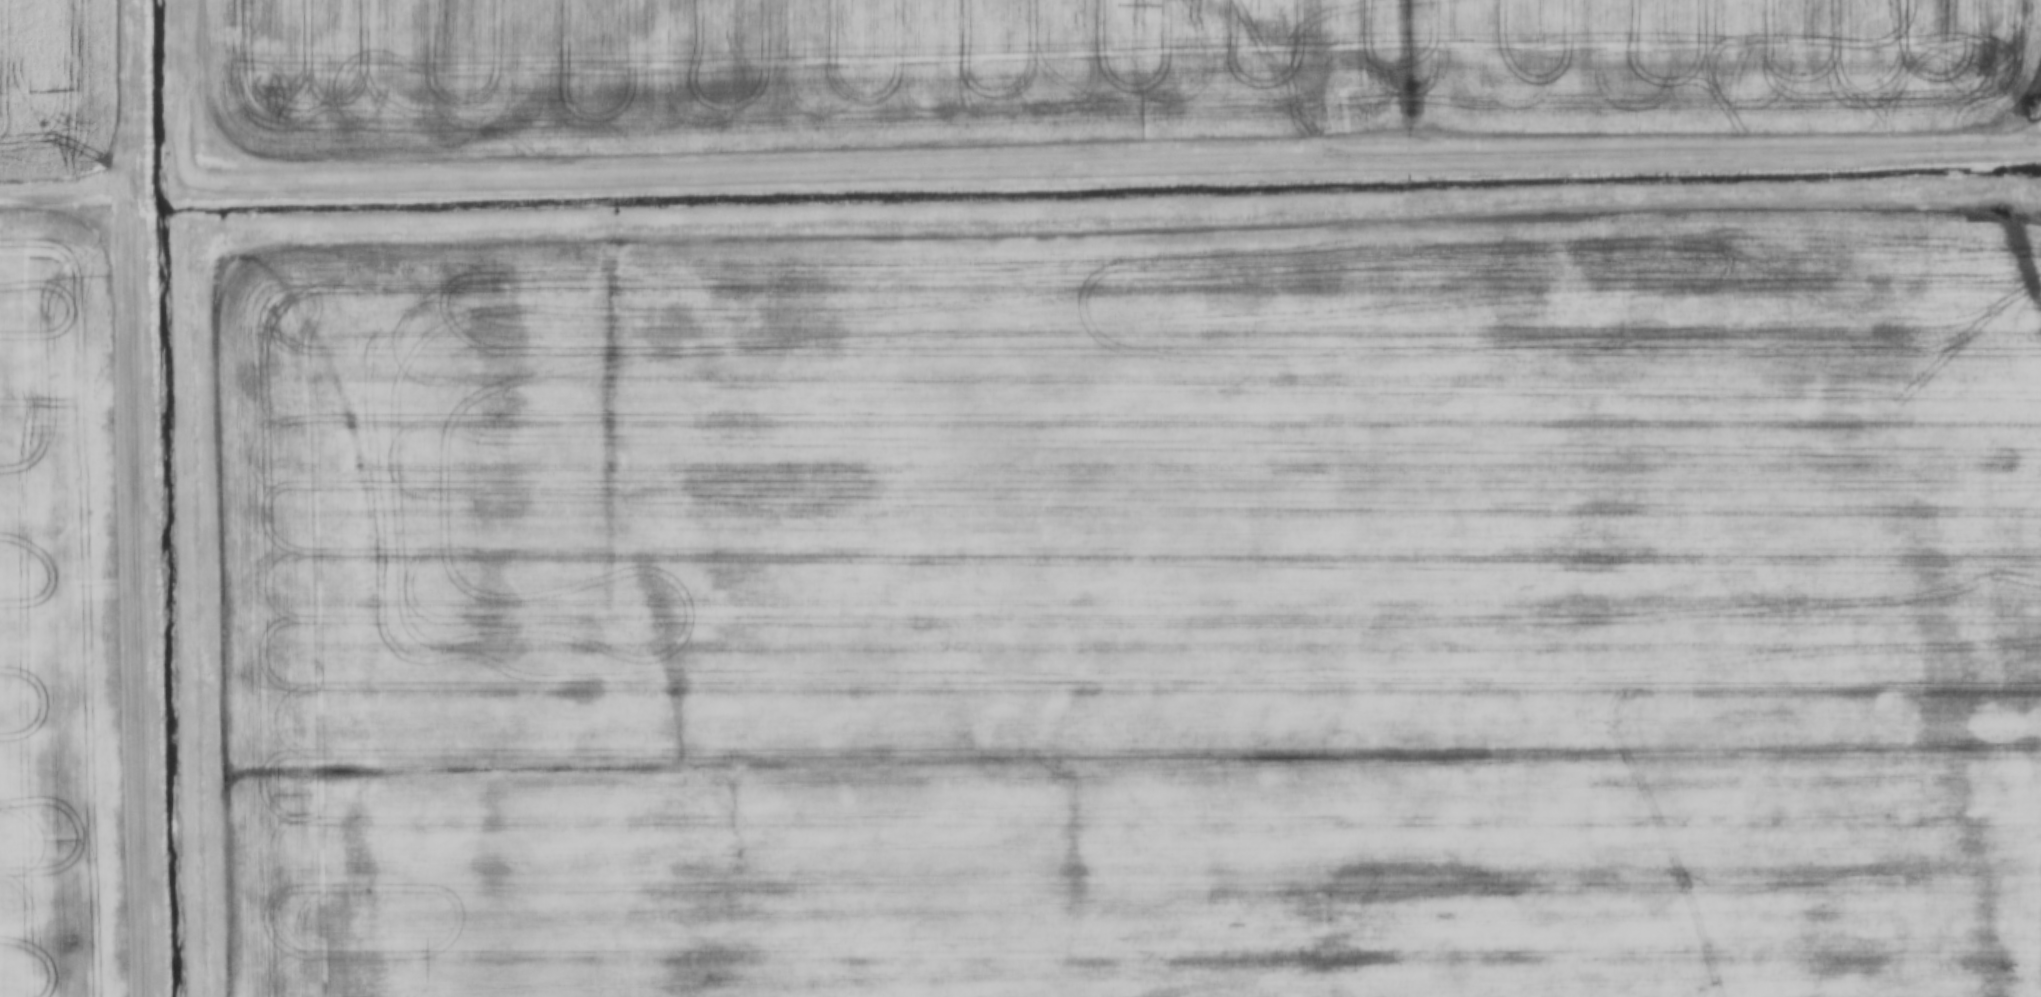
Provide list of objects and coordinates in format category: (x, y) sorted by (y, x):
road: (1124, 164)
road: (65, 187)
road: (136, 498)

